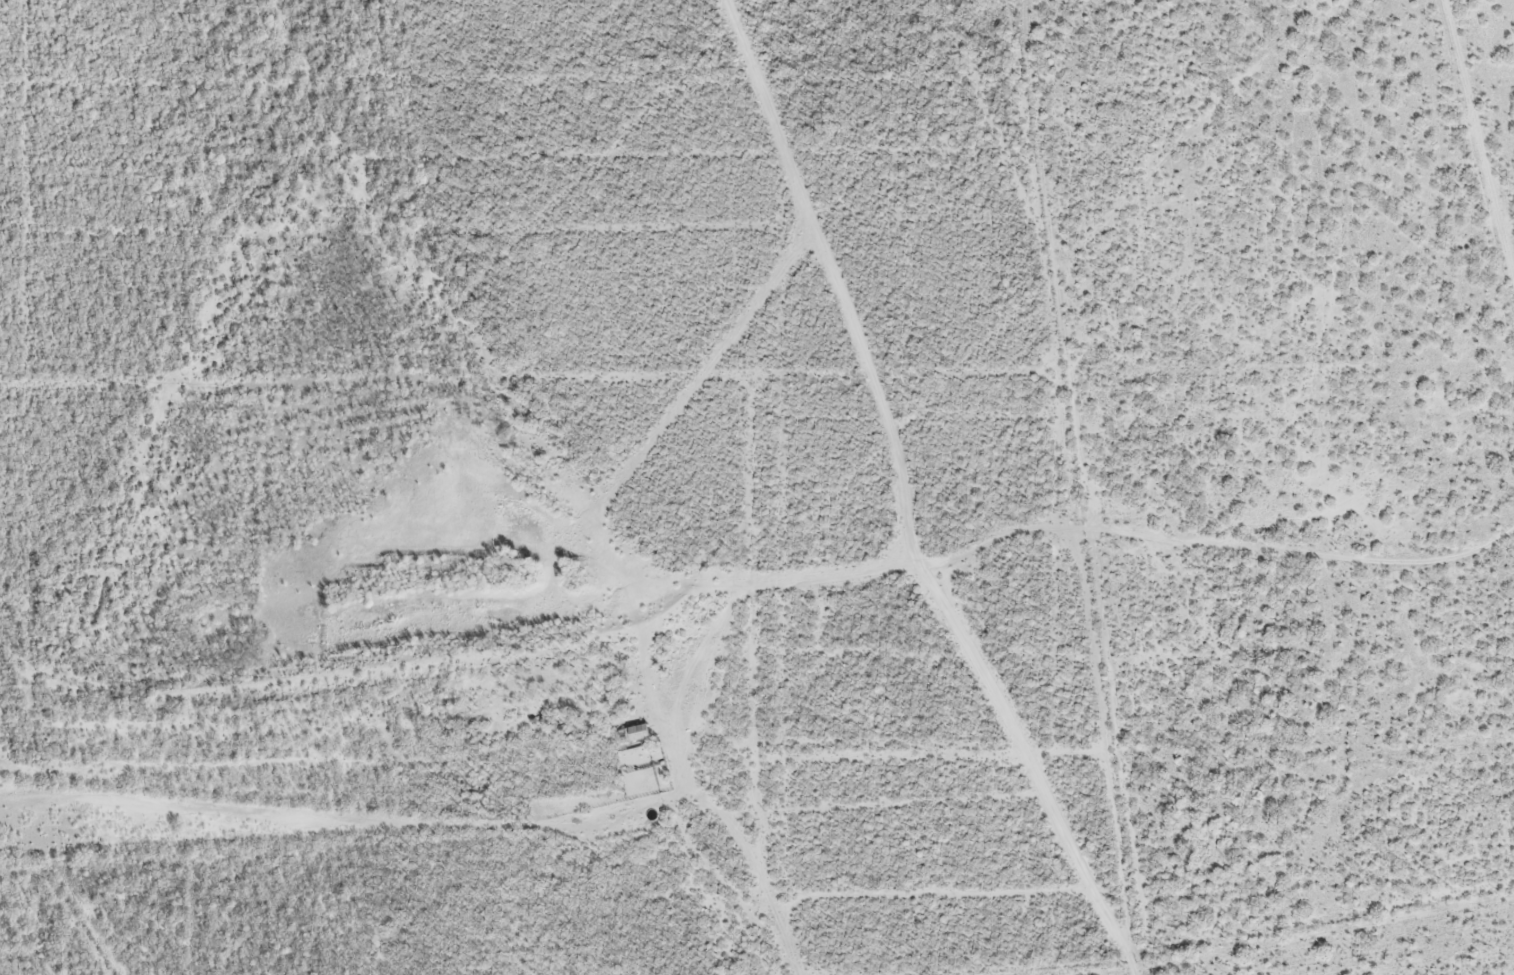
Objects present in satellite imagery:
road: (848, 279)
road: (1041, 532)

